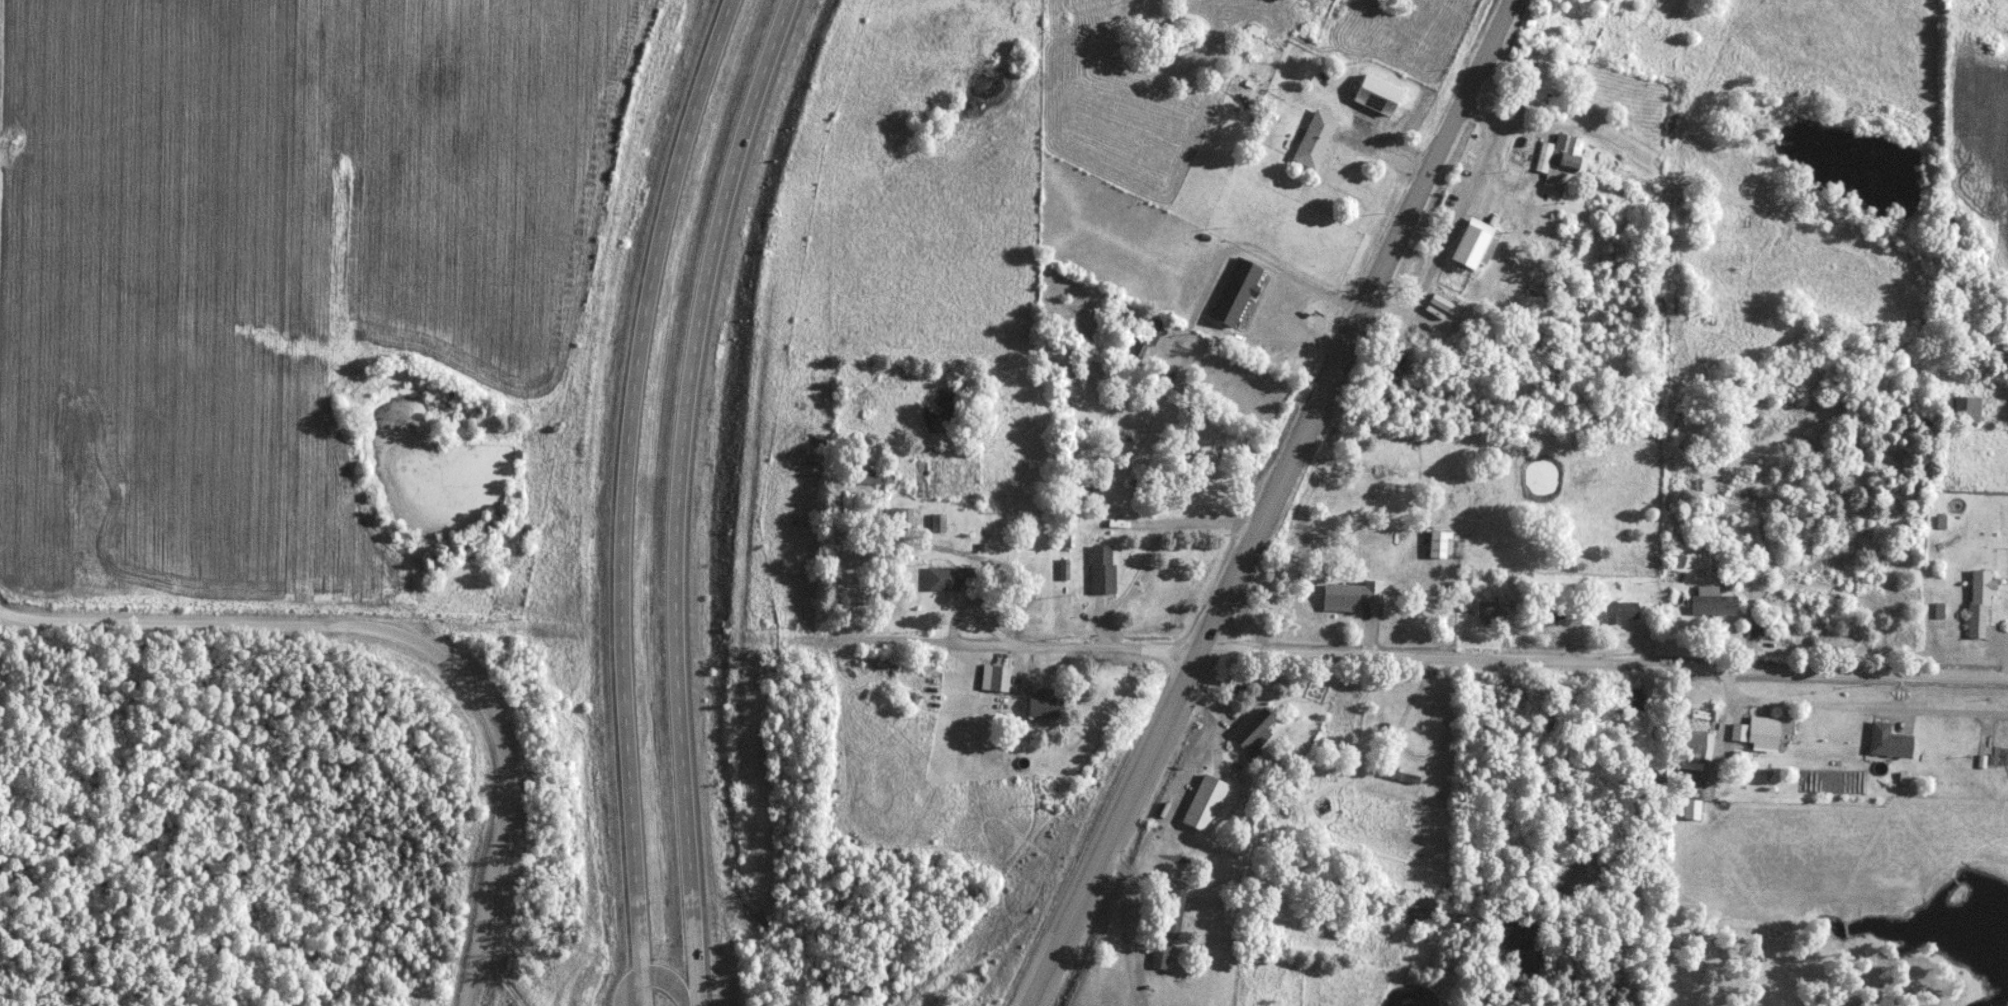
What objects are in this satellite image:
building: (1543, 85)
building: (1380, 96)
building: (1318, 139)
road: (1385, 153)
building: (1565, 154)
building: (1470, 235)
building: (1741, 243)
building: (1238, 290)
road: (1286, 299)
building: (1149, 338)
building: (1970, 408)
building: (873, 475)
road: (624, 496)
road: (679, 496)
road: (1277, 503)
building: (902, 518)
building: (940, 522)
road: (1129, 532)
building: (1440, 544)
building: (1105, 569)
building: (951, 577)
building: (1354, 593)
building: (1983, 601)
building: (1717, 603)
building: (1490, 610)
building: (1623, 611)
road: (187, 625)
building: (1836, 640)
road: (1395, 661)
building: (1002, 678)
building: (1634, 699)
building: (1048, 705)
road: (1857, 715)
building: (1255, 726)
building: (1760, 735)
building: (1892, 740)
building: (1698, 743)
road: (508, 785)
building: (1178, 910)
road: (1131, 920)
building: (1162, 955)
road: (655, 976)

